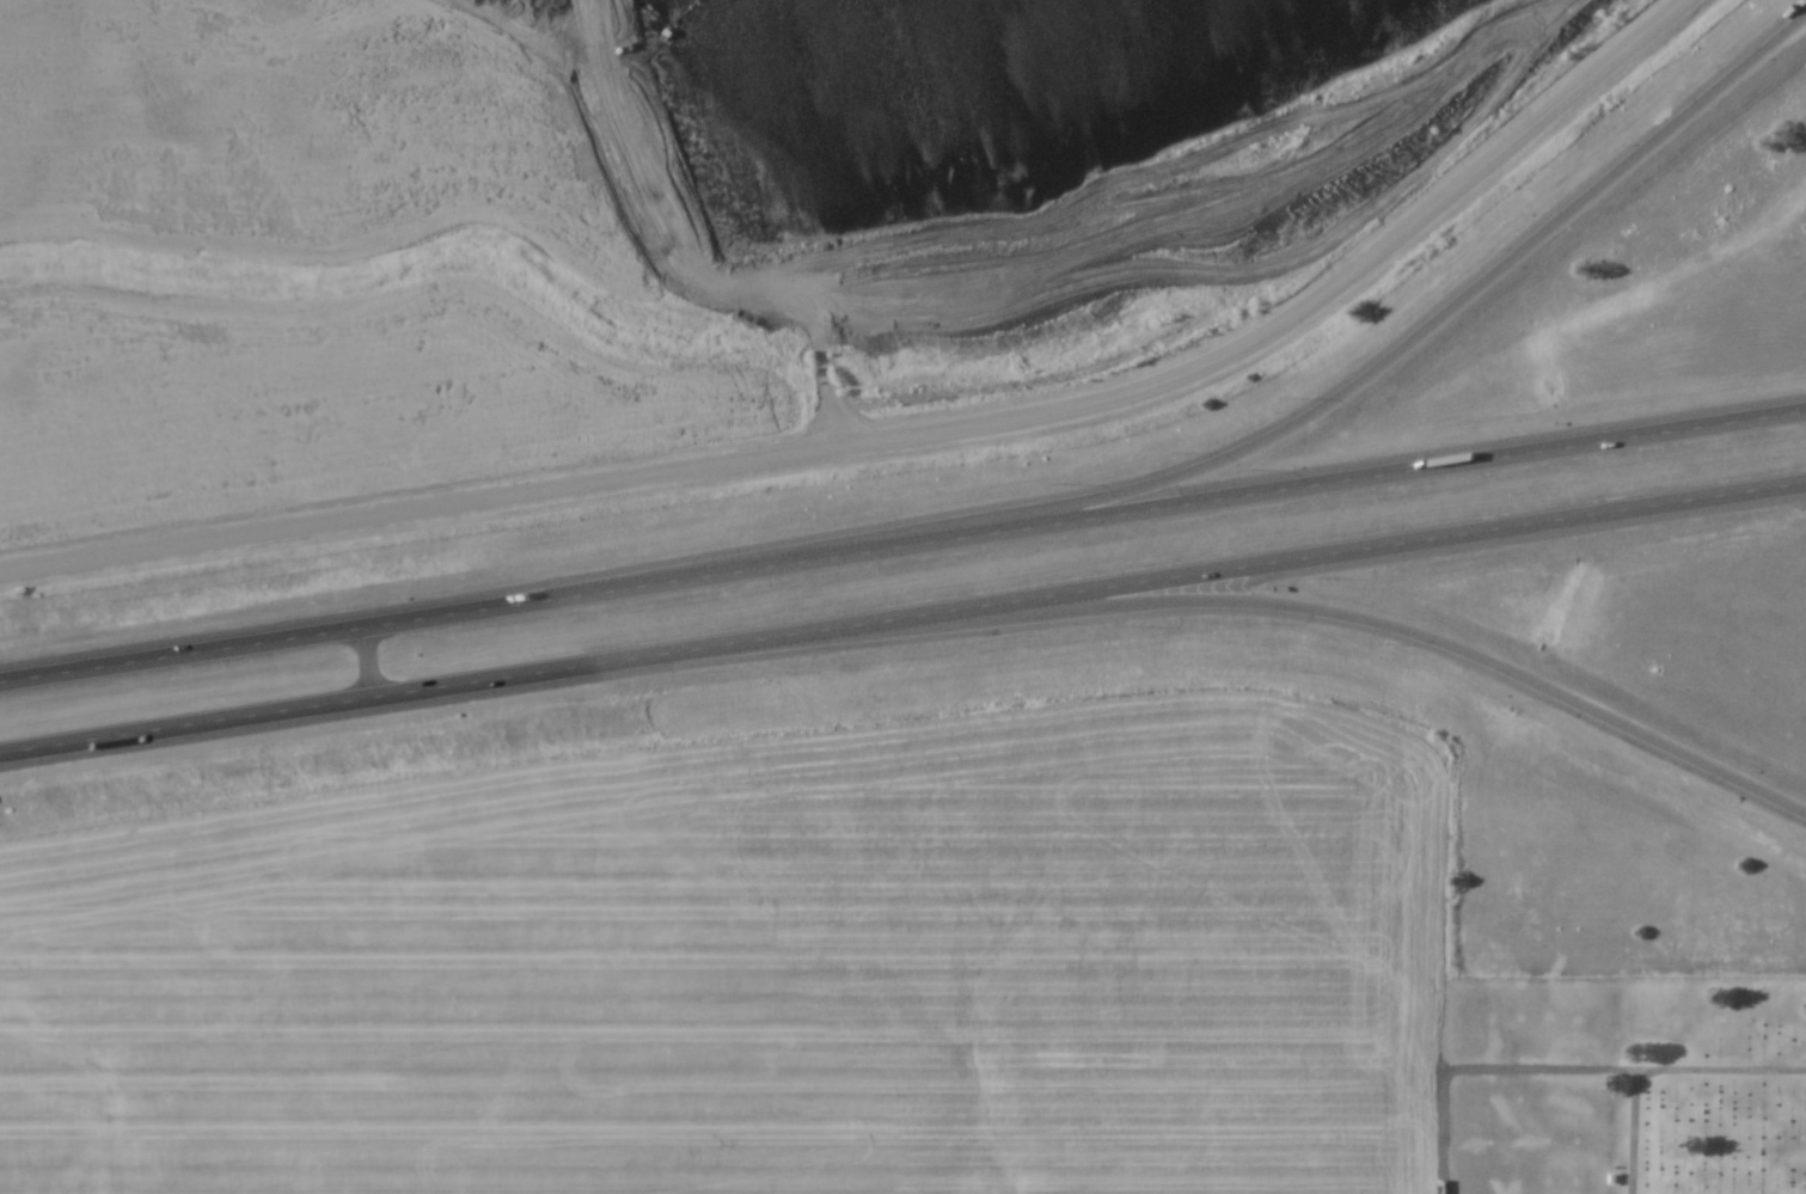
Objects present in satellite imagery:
road: (1334, 403)
road: (906, 435)
road: (902, 545)
road: (1281, 606)
road: (902, 614)
park: (1715, 1090)

